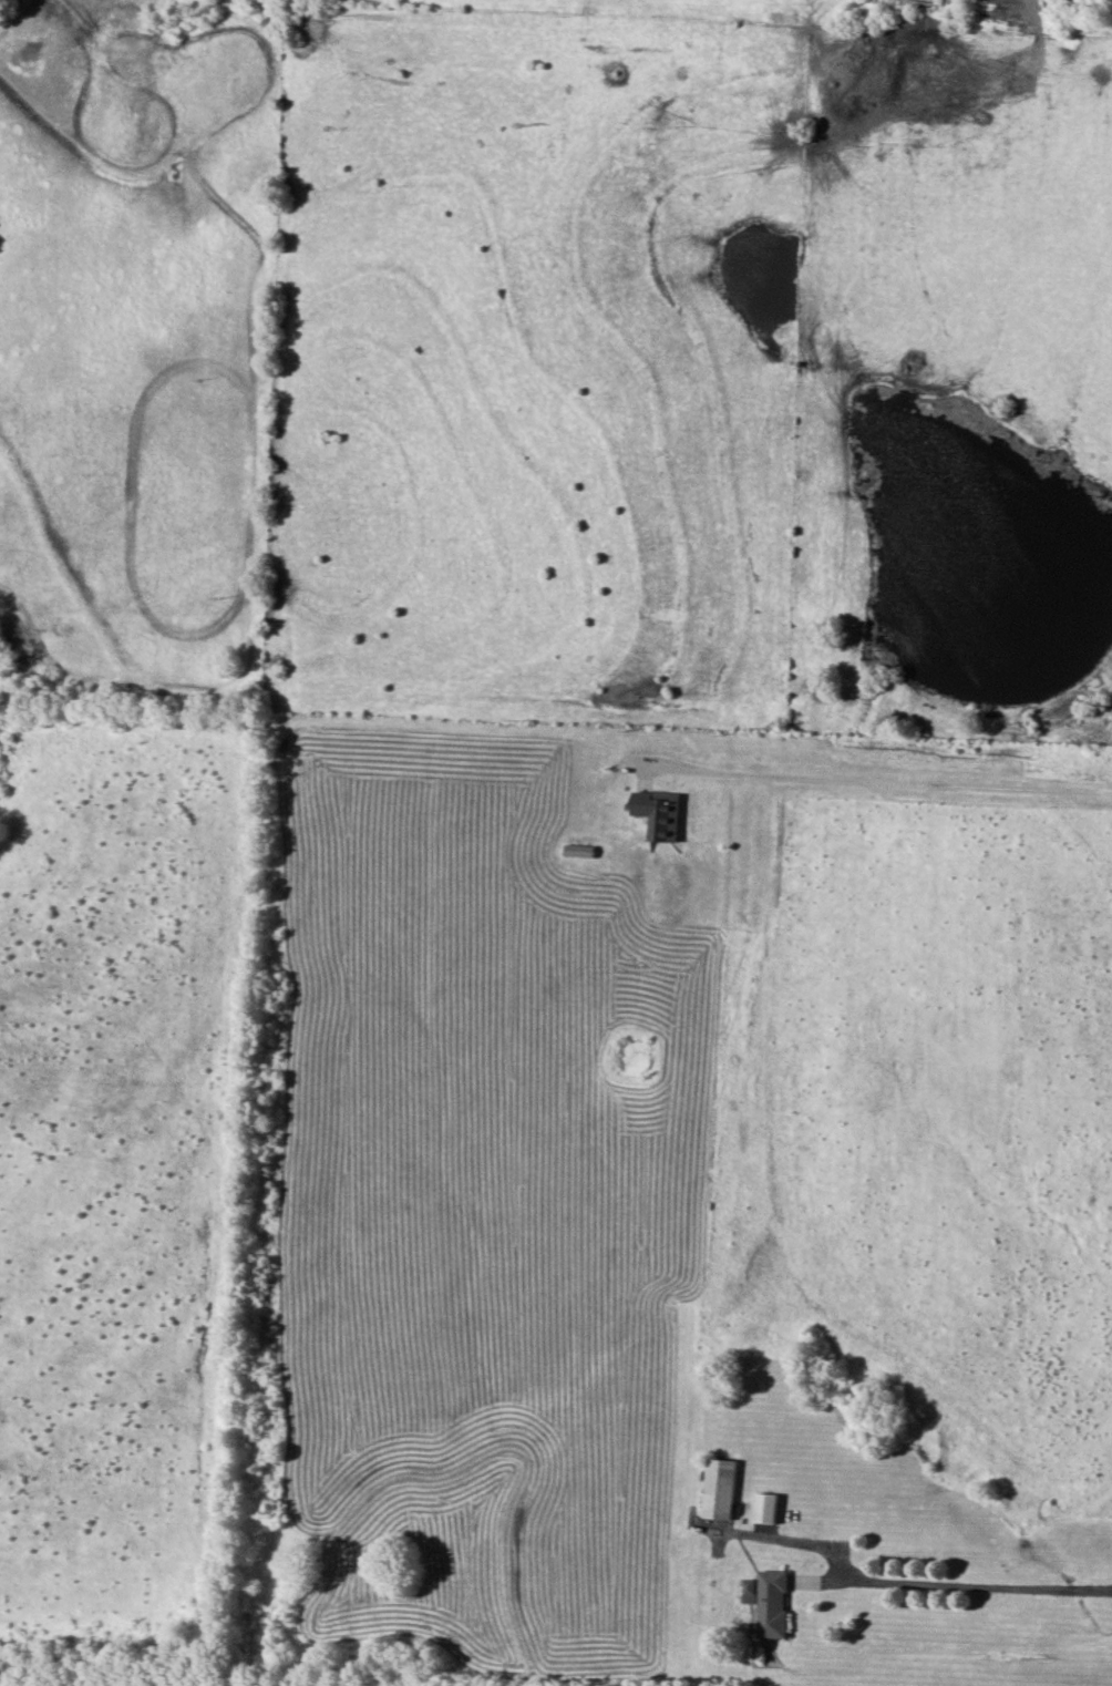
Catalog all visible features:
building: (924, 22)
road: (881, 774)
building: (723, 1490)
road: (909, 1584)
building: (773, 1603)

